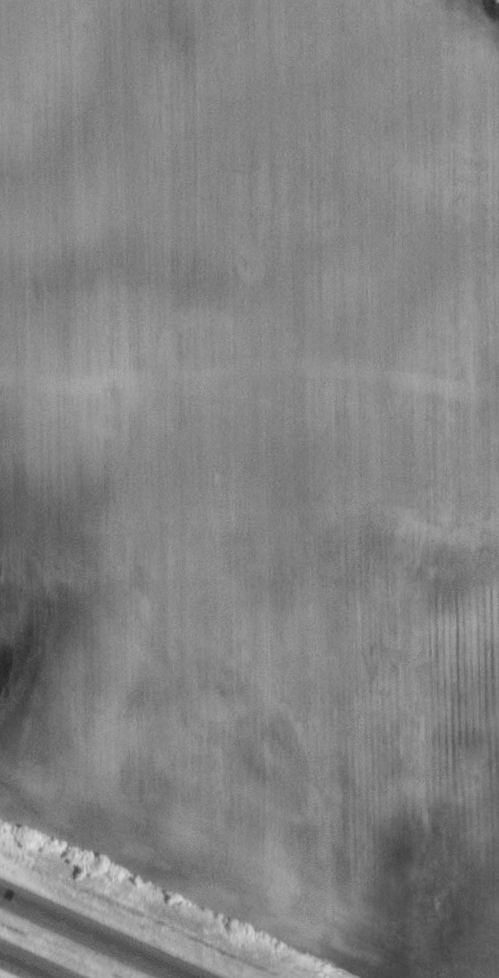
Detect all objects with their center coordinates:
road: (95, 935)
road: (33, 963)

